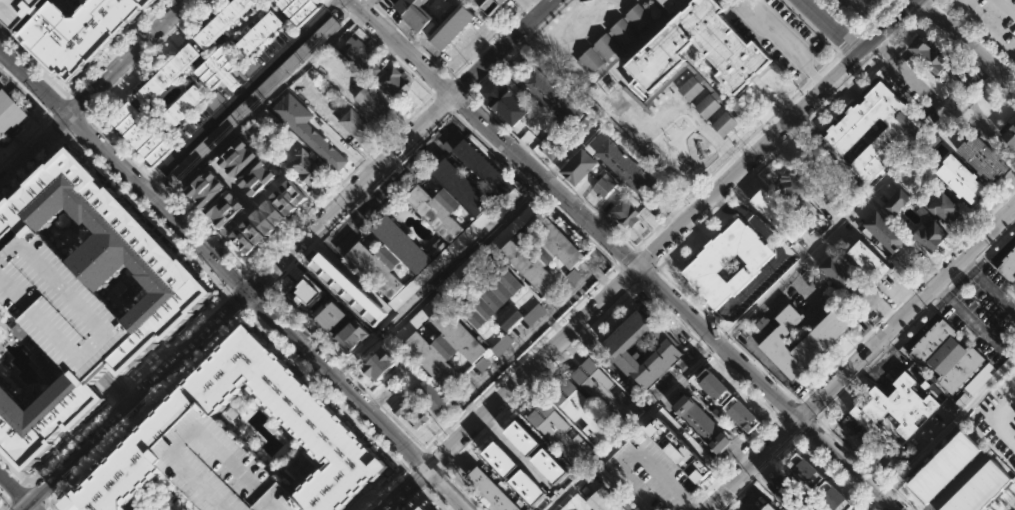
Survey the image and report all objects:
building: (447, 0)
road: (370, 1)
road: (160, 3)
road: (337, 3)
road: (366, 4)
building: (489, 5)
road: (530, 6)
road: (524, 7)
road: (924, 7)
building: (297, 9)
road: (378, 9)
parking lot: (856, 9)
road: (344, 10)
building: (17, 11)
parking garage: (17, 11)
road: (353, 19)
road: (390, 20)
building: (222, 21)
parking lot: (989, 21)
building: (453, 24)
road: (831, 25)
road: (886, 25)
road: (810, 26)
road: (902, 27)
building: (81, 32)
road: (404, 32)
road: (497, 32)
building: (257, 33)
road: (856, 33)
road: (975, 34)
road: (969, 40)
building: (337, 42)
road: (953, 43)
road: (417, 45)
road: (469, 45)
road: (848, 45)
road: (519, 46)
road: (785, 46)
road: (402, 47)
road: (502, 48)
road: (884, 49)
road: (111, 51)
building: (357, 51)
road: (473, 54)
building: (931, 55)
road: (475, 57)
road: (32, 63)
building: (653, 68)
building: (219, 69)
road: (445, 71)
building: (165, 75)
road: (909, 75)
building: (960, 75)
road: (449, 77)
road: (993, 77)
building: (928, 78)
parking lot: (928, 78)
building: (393, 83)
road: (442, 86)
road: (456, 86)
road: (108, 87)
road: (1005, 87)
road: (427, 88)
road: (92, 90)
road: (434, 93)
road: (238, 94)
road: (468, 94)
road: (65, 98)
building: (252, 99)
parking lot: (252, 99)
road: (444, 99)
road: (458, 100)
road: (784, 102)
building: (557, 103)
building: (374, 104)
building: (508, 105)
road: (258, 107)
road: (58, 108)
road: (73, 108)
building: (181, 108)
road: (451, 110)
building: (9, 113)
road: (48, 116)
road: (49, 116)
road: (82, 116)
road: (58, 123)
road: (74, 123)
building: (355, 126)
building: (543, 128)
road: (802, 128)
building: (308, 130)
road: (991, 133)
building: (140, 134)
building: (897, 135)
road: (67, 136)
building: (1009, 136)
building: (551, 146)
road: (342, 147)
building: (237, 158)
road: (748, 159)
building: (984, 159)
road: (363, 161)
building: (621, 164)
building: (307, 166)
building: (579, 167)
building: (483, 168)
building: (816, 169)
road: (552, 171)
building: (256, 177)
road: (150, 180)
building: (961, 180)
road: (544, 181)
road: (230, 184)
building: (604, 187)
road: (160, 188)
building: (205, 189)
building: (794, 190)
road: (267, 192)
building: (293, 192)
road: (168, 196)
building: (657, 198)
building: (447, 199)
road: (683, 200)
road: (358, 201)
building: (896, 202)
building: (283, 203)
road: (722, 204)
building: (944, 207)
building: (224, 208)
building: (273, 212)
building: (624, 212)
building: (775, 216)
road: (189, 217)
road: (235, 222)
building: (263, 222)
building: (512, 227)
parking lot: (512, 227)
road: (974, 227)
road: (162, 228)
road: (290, 230)
building: (252, 231)
building: (885, 231)
building: (929, 235)
building: (242, 241)
road: (994, 241)
road: (215, 242)
building: (1014, 244)
road: (212, 245)
building: (540, 251)
building: (445, 255)
parking lot: (445, 255)
road: (463, 256)
road: (626, 256)
building: (387, 257)
road: (645, 257)
road: (777, 258)
building: (870, 260)
road: (663, 261)
building: (727, 262)
building: (1006, 265)
road: (657, 266)
road: (920, 266)
road: (970, 266)
building: (462, 271)
parking lot: (462, 271)
road: (246, 272)
road: (927, 272)
building: (841, 274)
road: (646, 275)
road: (626, 276)
road: (957, 279)
building: (334, 280)
road: (232, 281)
road: (238, 283)
road: (254, 283)
road: (916, 283)
road: (988, 285)
road: (227, 292)
road: (264, 292)
road: (769, 292)
road: (943, 293)
road: (904, 294)
road: (905, 294)
building: (304, 298)
road: (254, 299)
building: (490, 299)
building: (1, 300)
road: (238, 300)
building: (174, 303)
road: (236, 303)
road: (896, 304)
building: (63, 306)
parking garage: (63, 306)
road: (880, 307)
road: (246, 308)
road: (613, 309)
road: (886, 312)
road: (908, 312)
building: (329, 315)
road: (670, 316)
road: (713, 320)
building: (415, 321)
parking lot: (415, 321)
road: (913, 321)
road: (876, 322)
road: (975, 323)
road: (721, 328)
road: (231, 330)
road: (866, 333)
road: (727, 334)
road: (586, 335)
building: (352, 336)
building: (802, 341)
road: (719, 342)
building: (445, 347)
building: (503, 347)
road: (887, 348)
road: (743, 349)
building: (668, 351)
road: (708, 351)
road: (521, 357)
road: (605, 357)
road: (875, 359)
building: (952, 360)
road: (150, 362)
building: (380, 364)
road: (762, 367)
road: (104, 370)
road: (864, 370)
road: (548, 372)
road: (815, 383)
road: (117, 386)
road: (120, 386)
building: (715, 386)
road: (511, 388)
building: (602, 388)
building: (429, 394)
road: (837, 396)
road: (757, 399)
road: (799, 401)
building: (899, 406)
building: (411, 410)
building: (580, 410)
road: (806, 410)
road: (792, 411)
road: (504, 414)
building: (743, 414)
road: (780, 418)
building: (703, 424)
road: (822, 424)
road: (791, 425)
road: (806, 425)
road: (947, 425)
road: (491, 426)
building: (559, 431)
road: (831, 433)
building: (327, 437)
building: (524, 439)
road: (475, 442)
building: (968, 444)
road: (66, 446)
building: (687, 452)
building: (960, 452)
road: (817, 453)
road: (518, 454)
road: (742, 455)
road: (418, 459)
road: (857, 459)
road: (457, 460)
building: (502, 460)
building: (951, 461)
road: (755, 464)
road: (848, 464)
building: (886, 464)
building: (550, 466)
building: (221, 468)
parking garage: (221, 468)
road: (449, 468)
road: (765, 468)
road: (444, 469)
road: (727, 470)
building: (942, 470)
building: (806, 472)
building: (999, 474)
road: (434, 475)
parking lot: (649, 476)
road: (755, 477)
road: (394, 479)
building: (932, 479)
road: (959, 482)
building: (990, 483)
road: (714, 484)
road: (426, 485)
road: (886, 485)
road: (746, 486)
building: (529, 488)
building: (922, 489)
road: (464, 490)
building: (491, 490)
building: (981, 492)
road: (16, 494)
road: (36, 494)
building: (790, 494)
road: (369, 496)
road: (703, 496)
road: (376, 497)
road: (438, 498)
building: (834, 498)
road: (6, 499)
road: (414, 499)
road: (732, 499)
road: (902, 499)
building: (970, 499)
road: (871, 501)
building: (594, 502)
road: (1010, 502)
road: (695, 504)
building: (957, 504)
road: (870, 505)
road: (41, 506)
road: (367, 506)
building: (770, 507)
building: (426, 508)
building: (947, 508)
road: (1003, 508)
road: (875, 509)

